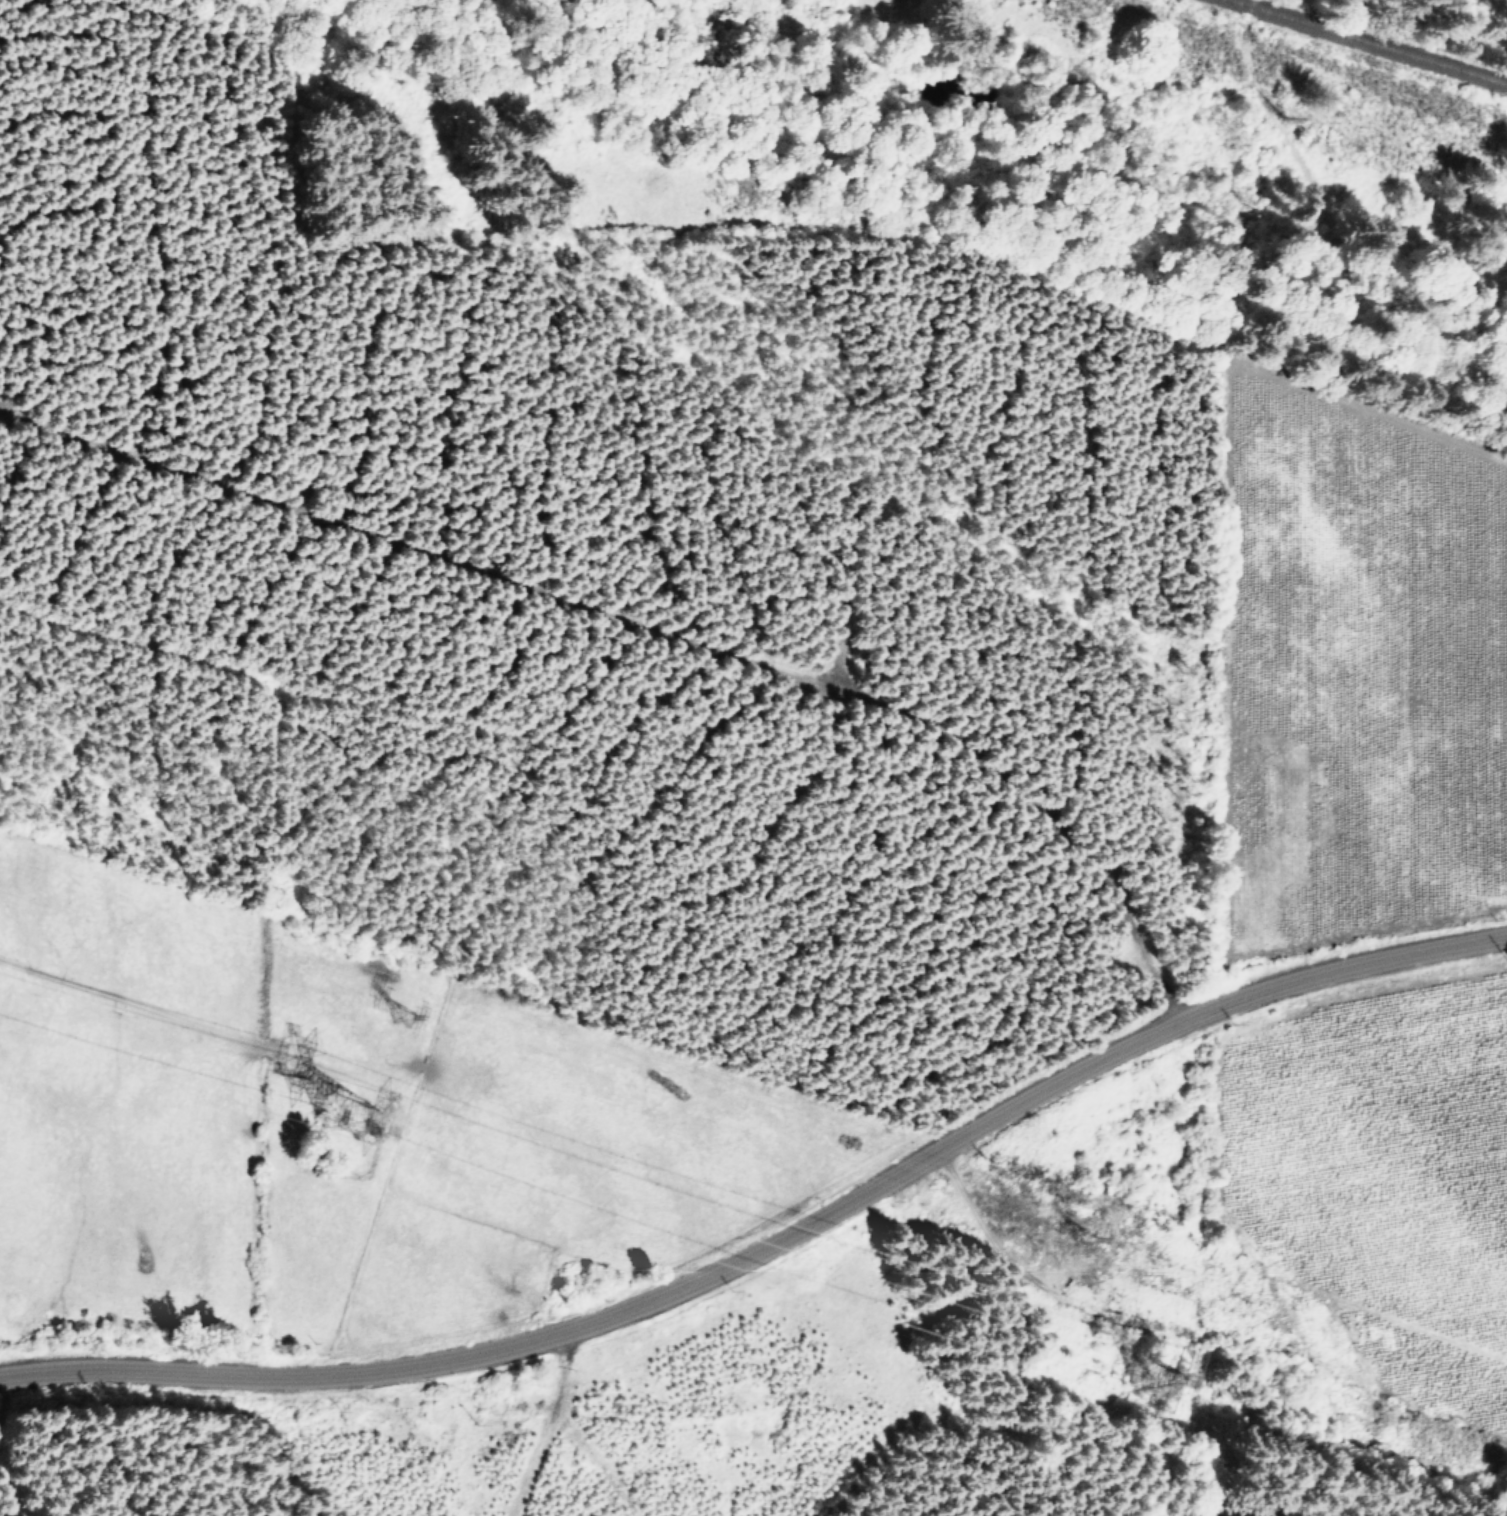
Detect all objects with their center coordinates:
railway: (1364, 43)
road: (1343, 209)
crop: (1362, 853)
power tower: (407, 1013)
power tower: (350, 1118)
road: (774, 1240)
power tower: (1088, 1244)
road: (1056, 1305)
power tower: (1160, 1385)
road: (542, 1426)

